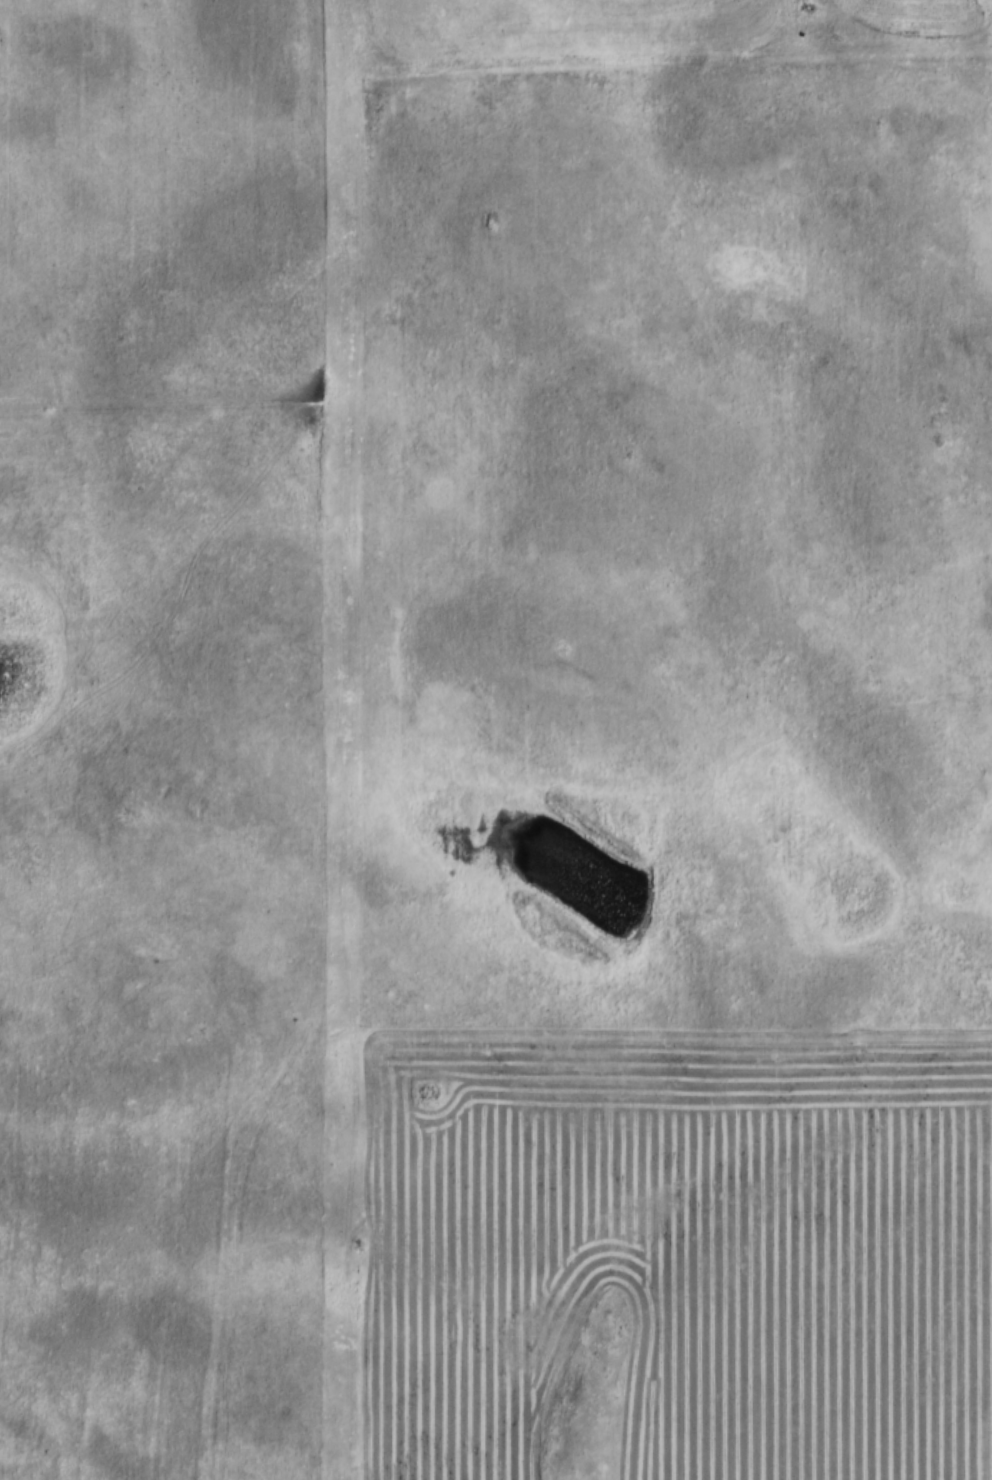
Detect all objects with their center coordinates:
building: (884, 1326)

